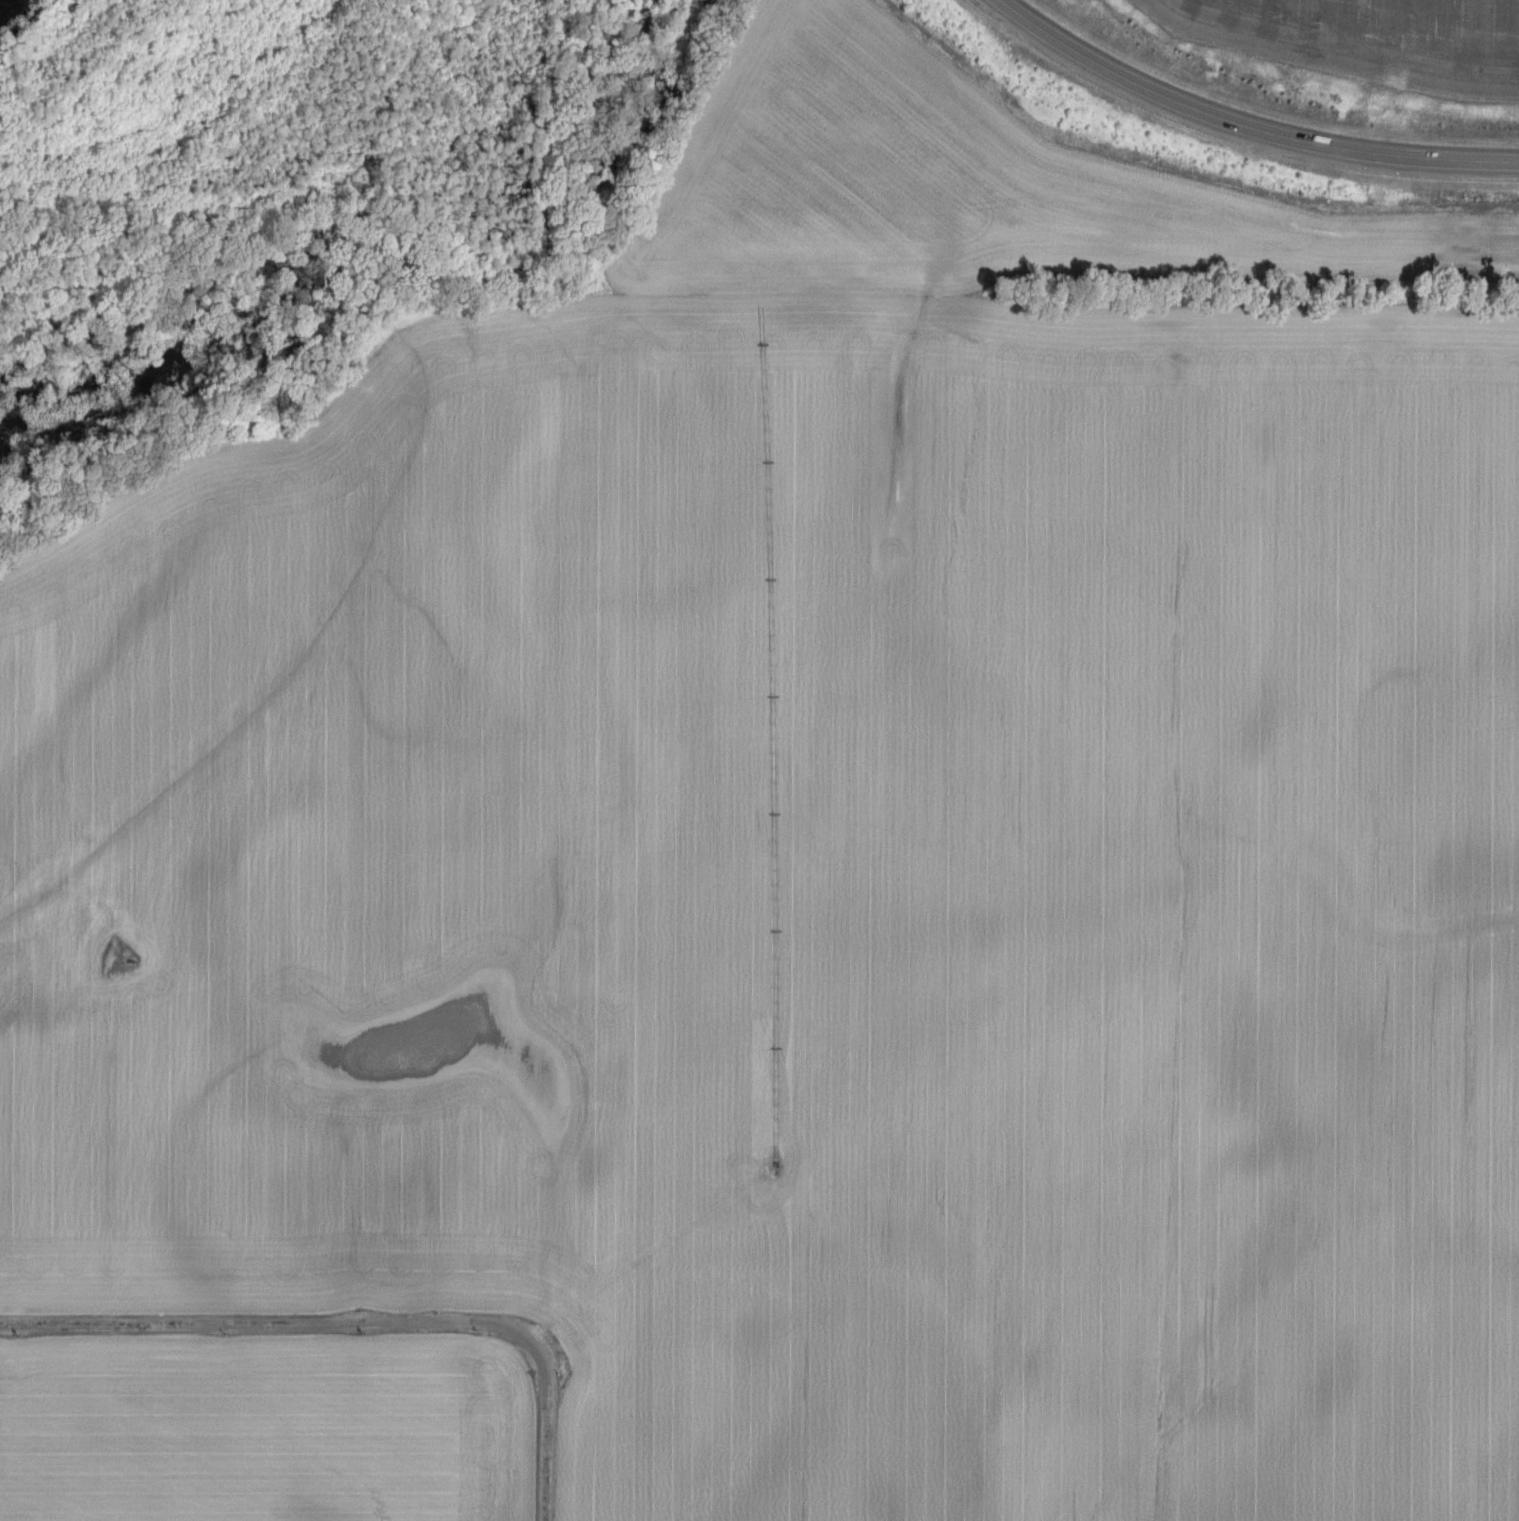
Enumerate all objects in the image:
road: (1244, 126)
road: (359, 1320)

